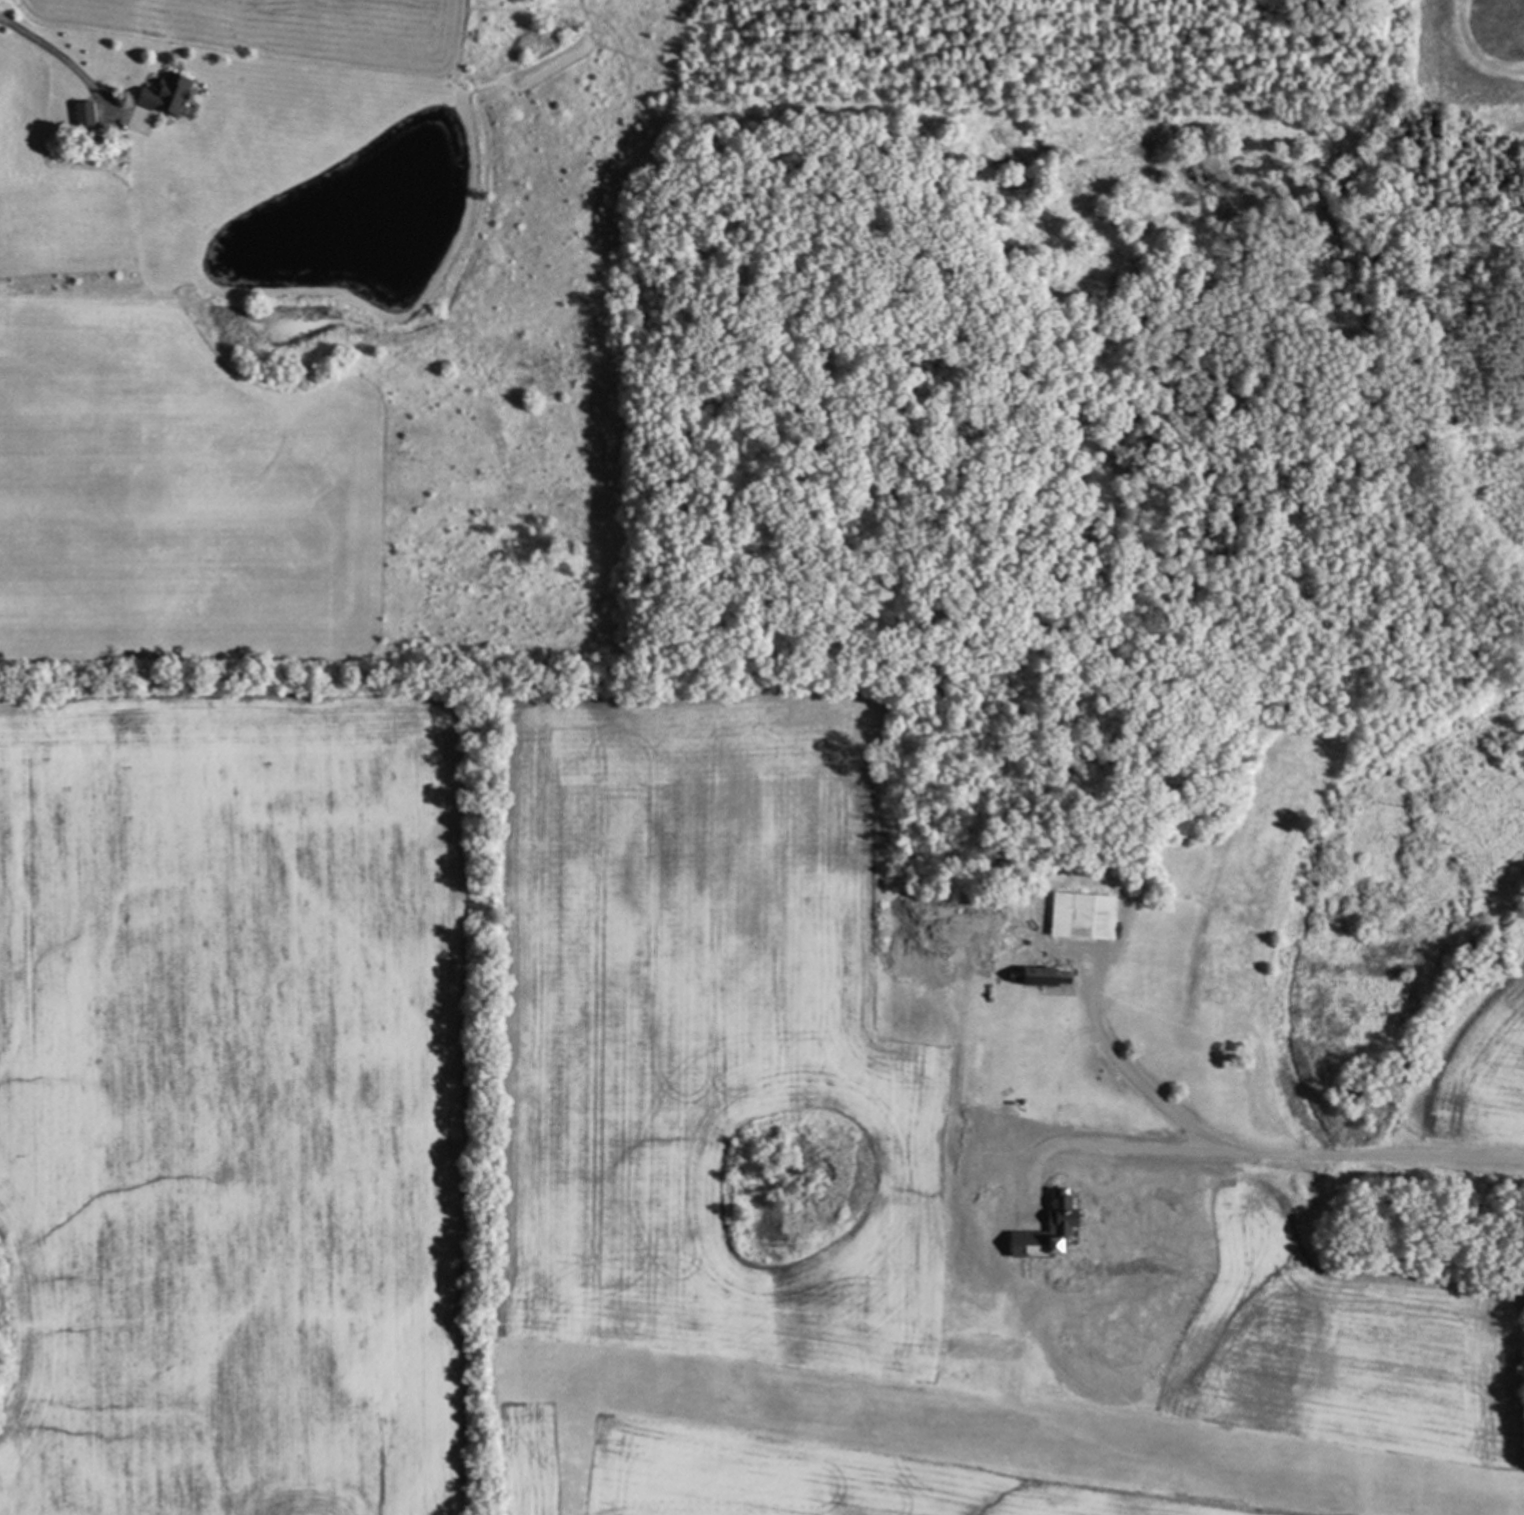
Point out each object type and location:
road: (57, 54)
building: (158, 95)
building: (78, 113)
building: (1079, 915)
building: (1038, 976)
road: (1119, 1055)
road: (1286, 1147)
building: (1053, 1224)
airport runway: (1013, 1432)

